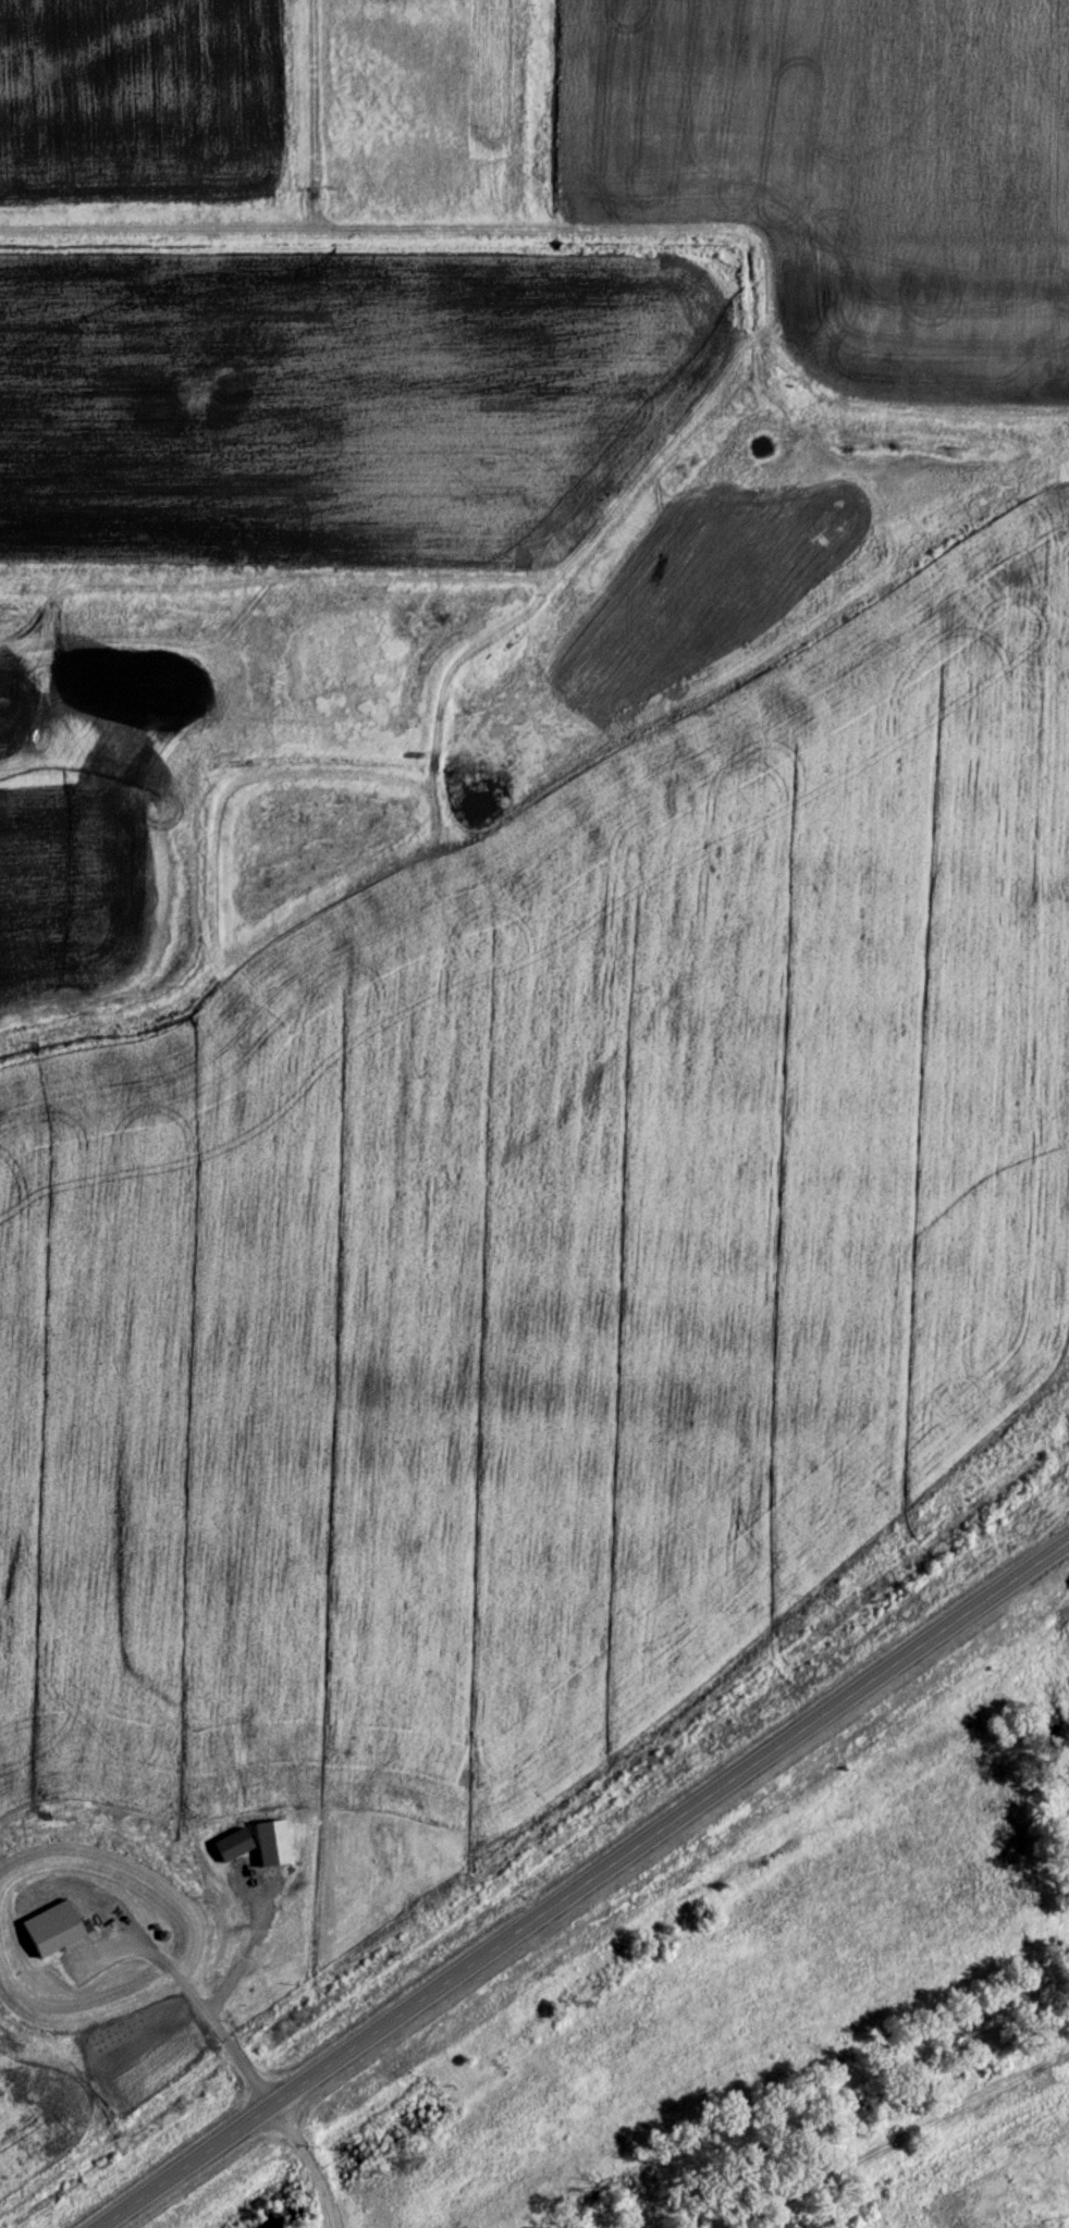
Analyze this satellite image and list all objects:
building: (226, 1841)
road: (609, 1900)
building: (46, 1924)
road: (894, 2138)
road: (315, 2177)

